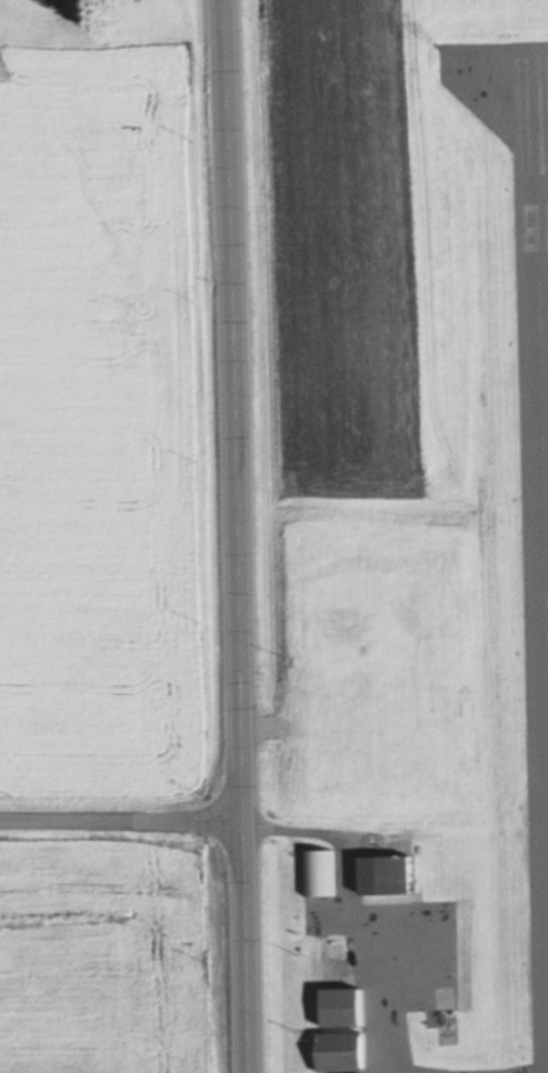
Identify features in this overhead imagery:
airport taxiway: (461, 80)
road: (226, 140)
airport runway: (538, 419)
road: (238, 676)
building: (328, 725)
road: (120, 822)
road: (295, 825)
airport hangar: (317, 874)
building: (317, 874)
airport hangar: (382, 875)
building: (382, 875)
airport taxiway: (381, 996)
airport hangar: (338, 1009)
building: (338, 1009)
airport hangar: (339, 1053)
building: (339, 1053)

